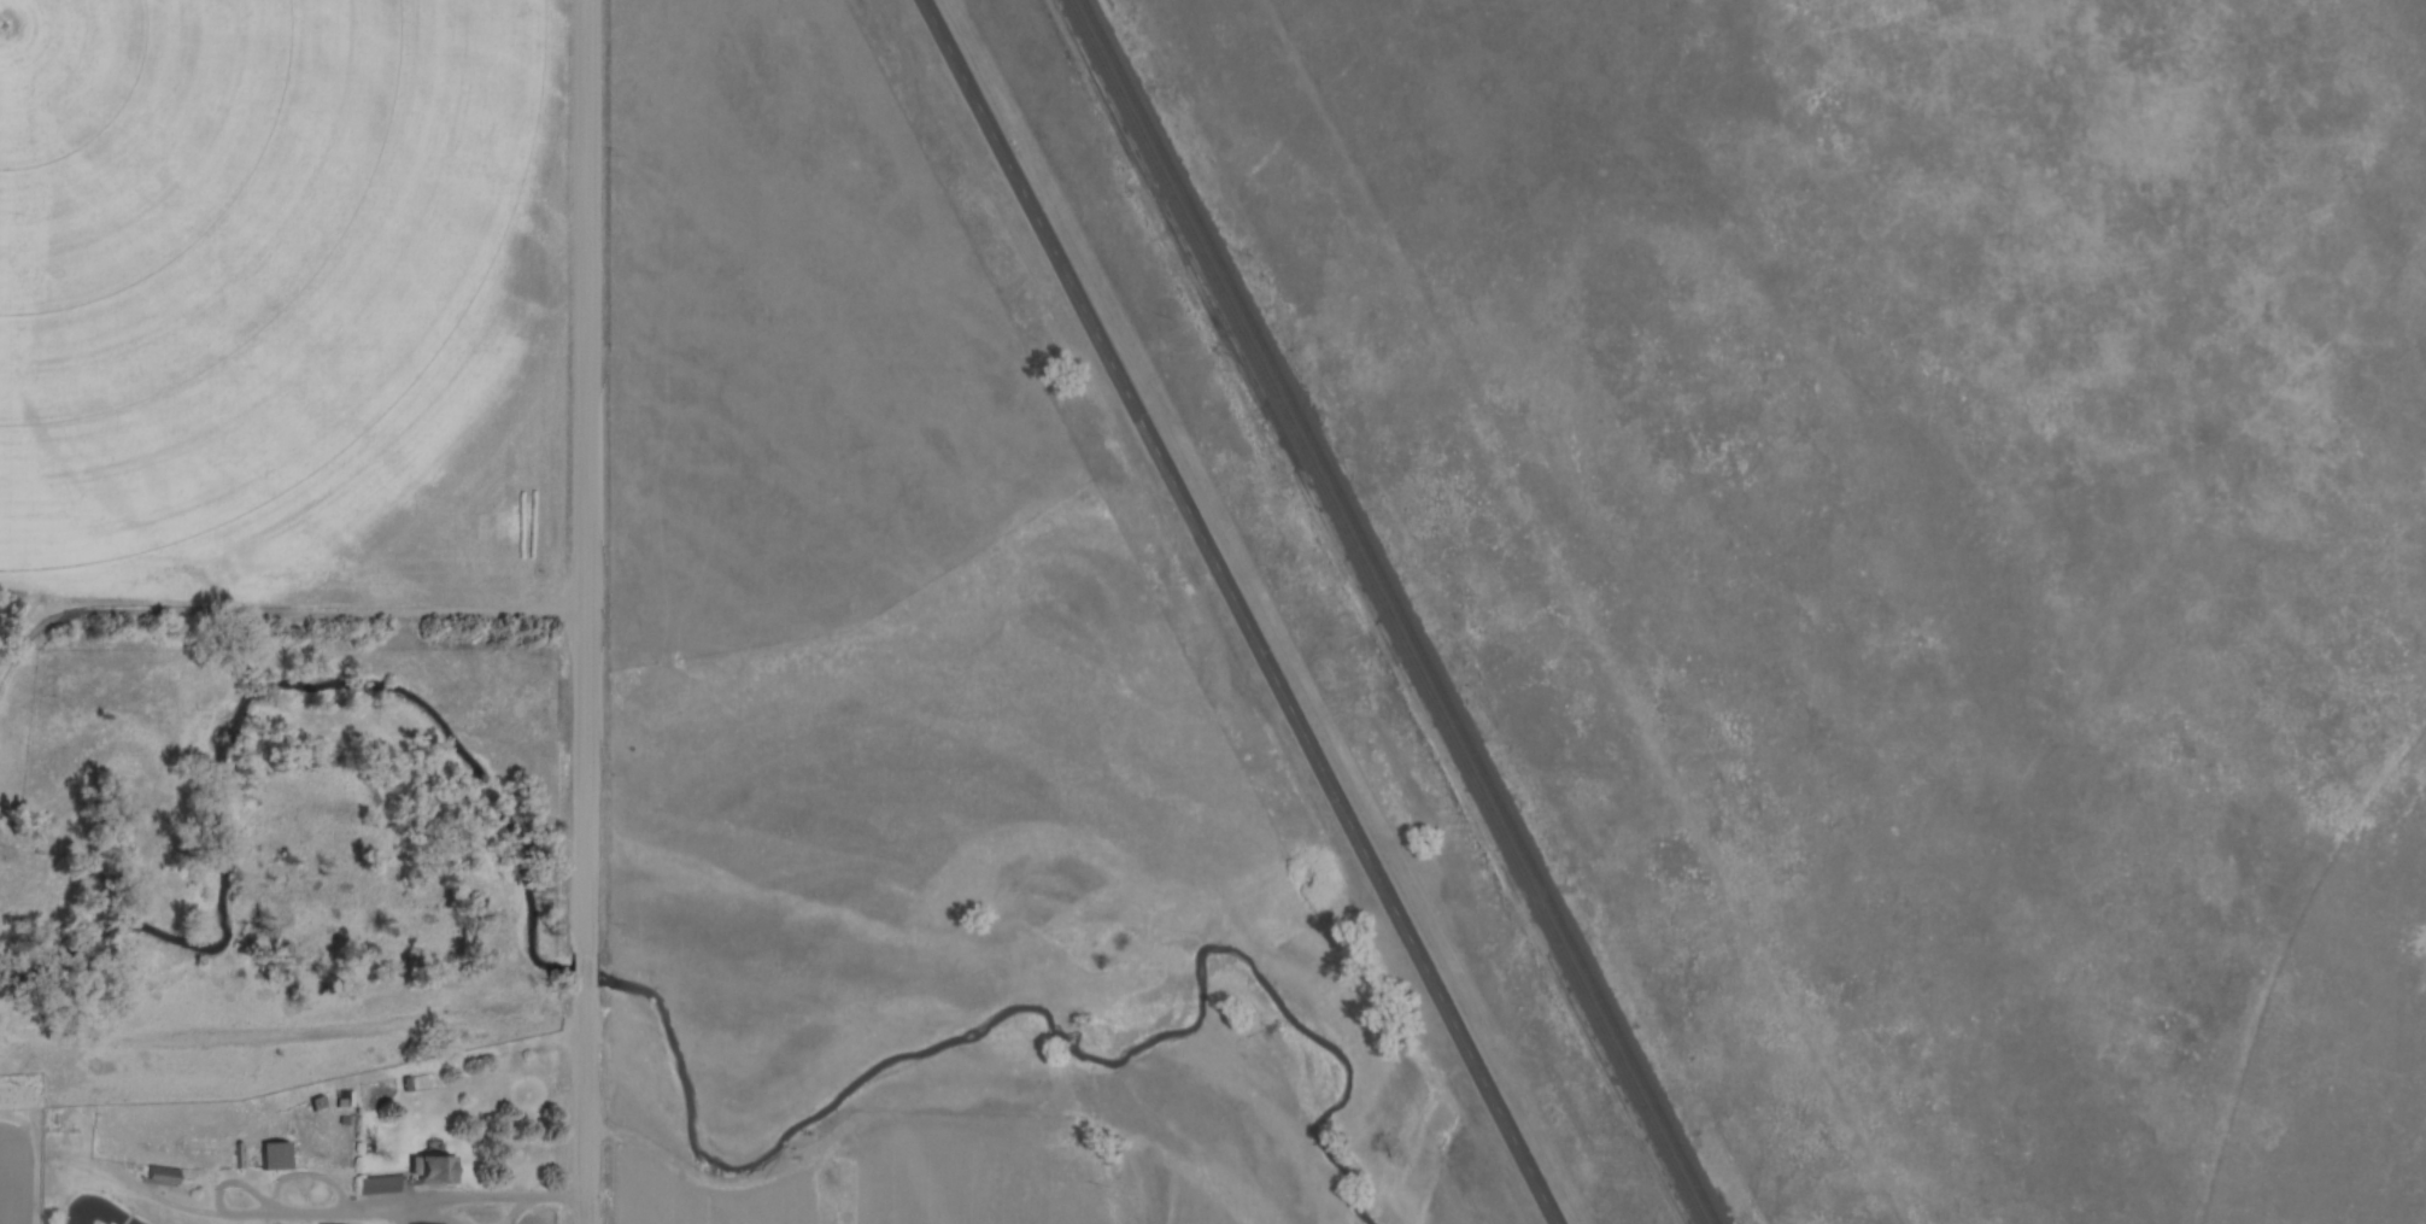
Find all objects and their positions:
crop: (285, 295)
road: (592, 476)
road: (271, 607)
road: (1246, 611)
railway: (1389, 611)
railway: (1404, 611)
road: (588, 970)
road: (253, 1102)
road: (588, 1105)
building: (276, 1155)
building: (432, 1169)
crop: (910, 1171)
building: (163, 1173)
building: (383, 1181)
road: (440, 1196)
road: (414, 1211)
building: (344, 1223)

